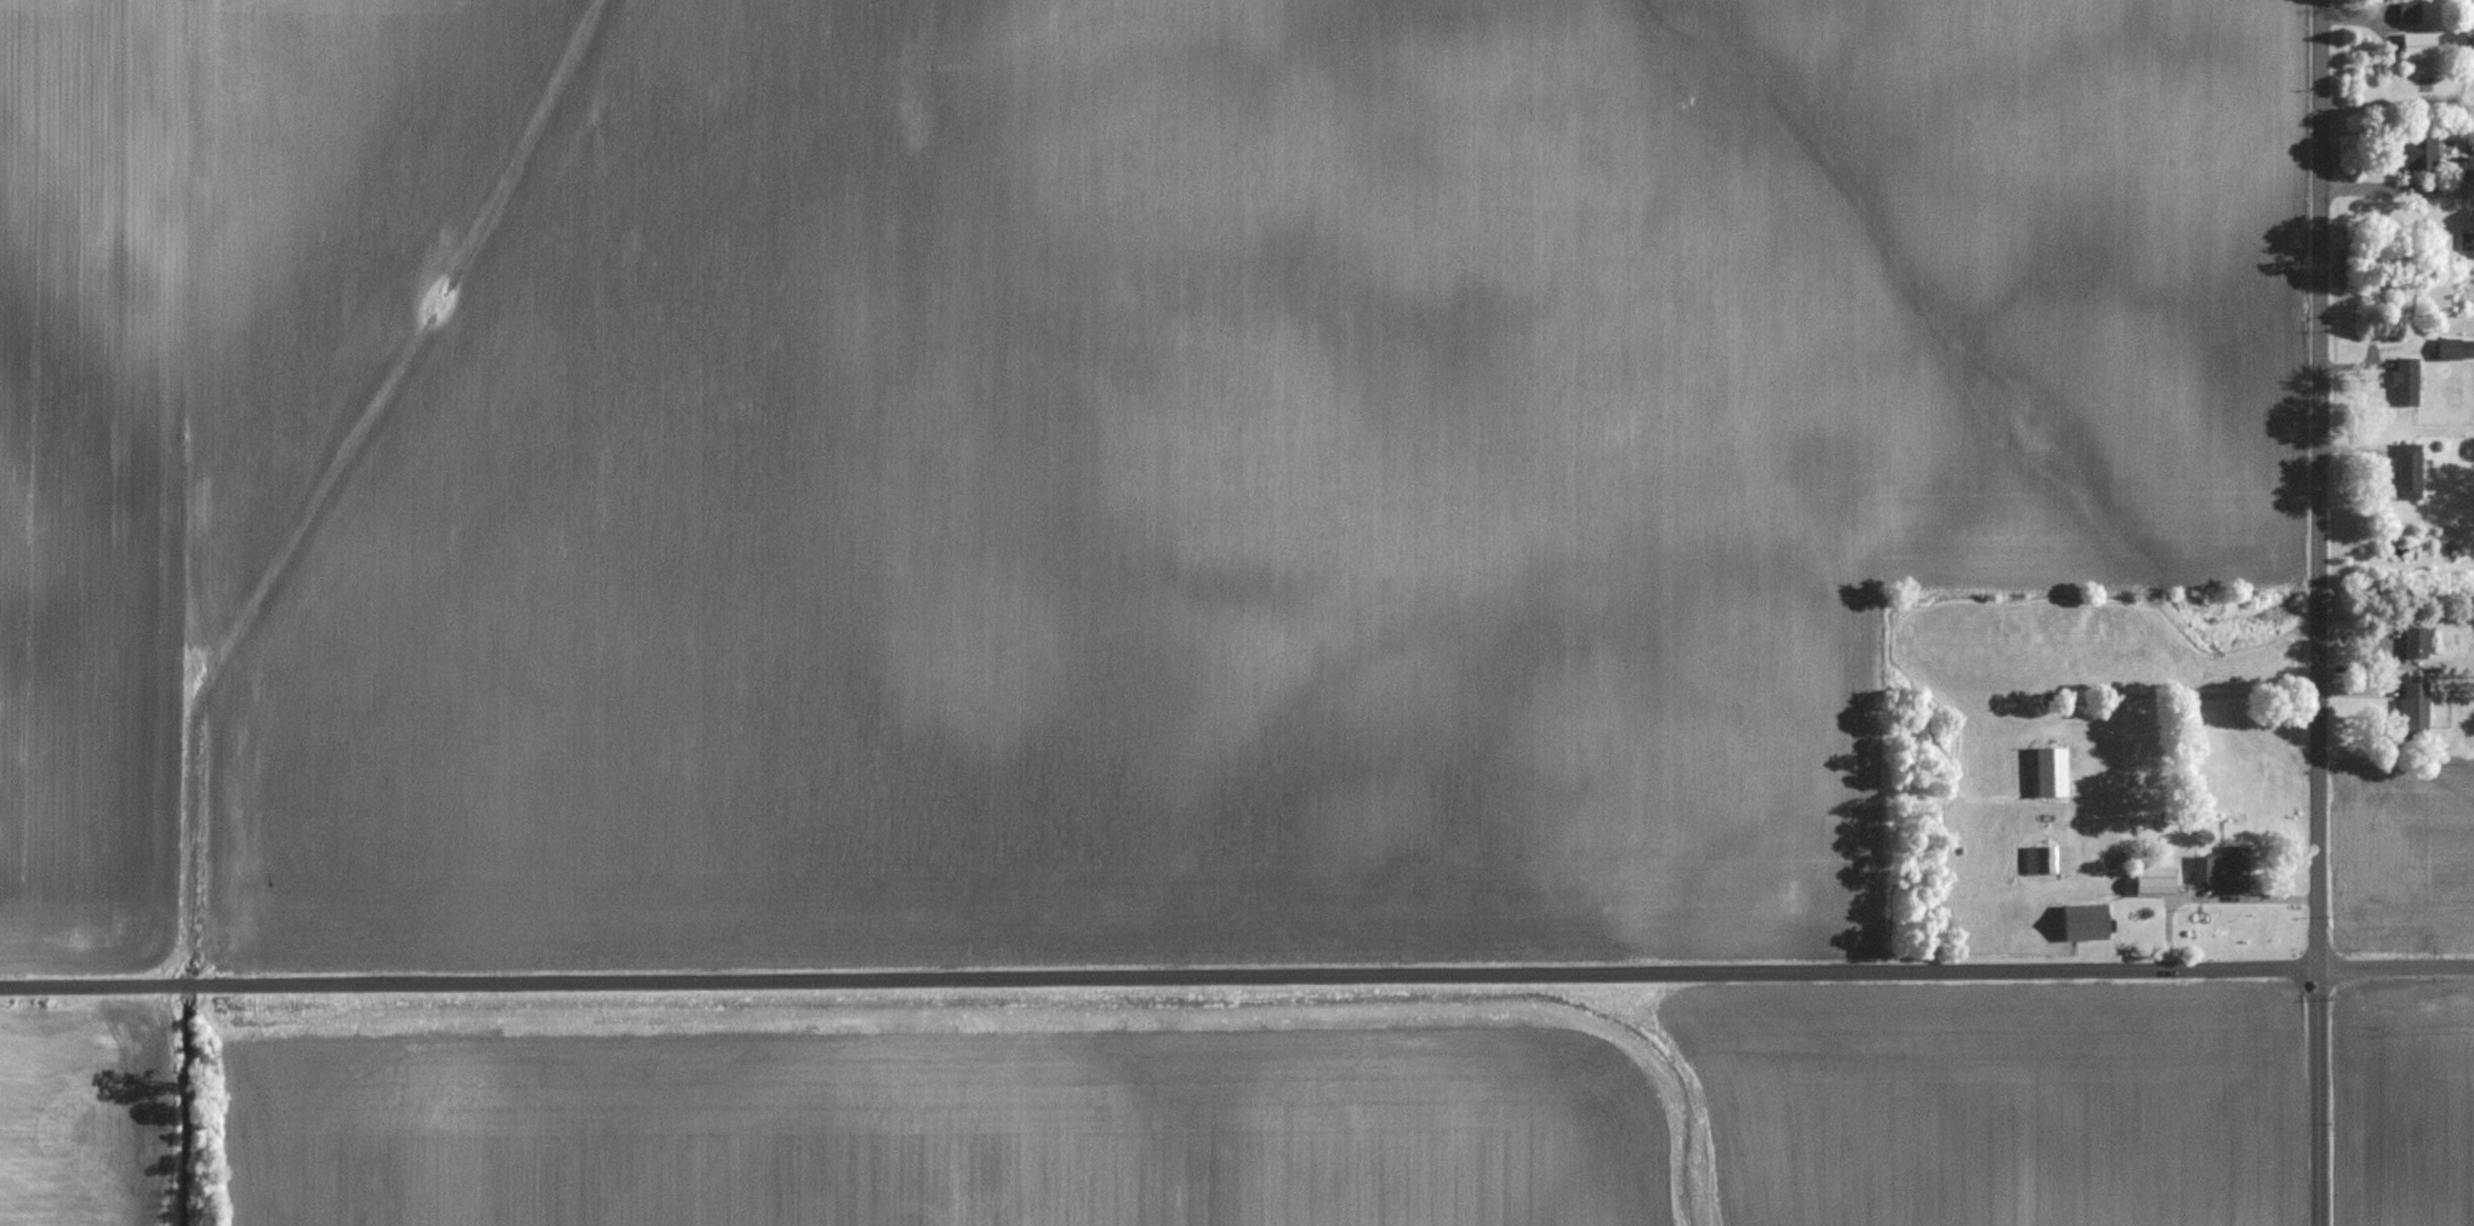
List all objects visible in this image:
building: (2410, 13)
building: (2473, 42)
building: (2419, 46)
building: (2416, 154)
building: (2468, 167)
road: (2383, 190)
building: (2456, 349)
building: (2407, 384)
building: (2410, 472)
road: (2319, 612)
building: (2417, 643)
building: (2416, 711)
building: (2052, 771)
building: (2047, 860)
building: (2227, 869)
building: (2087, 923)
road: (1236, 976)
crop: (2405, 1102)

